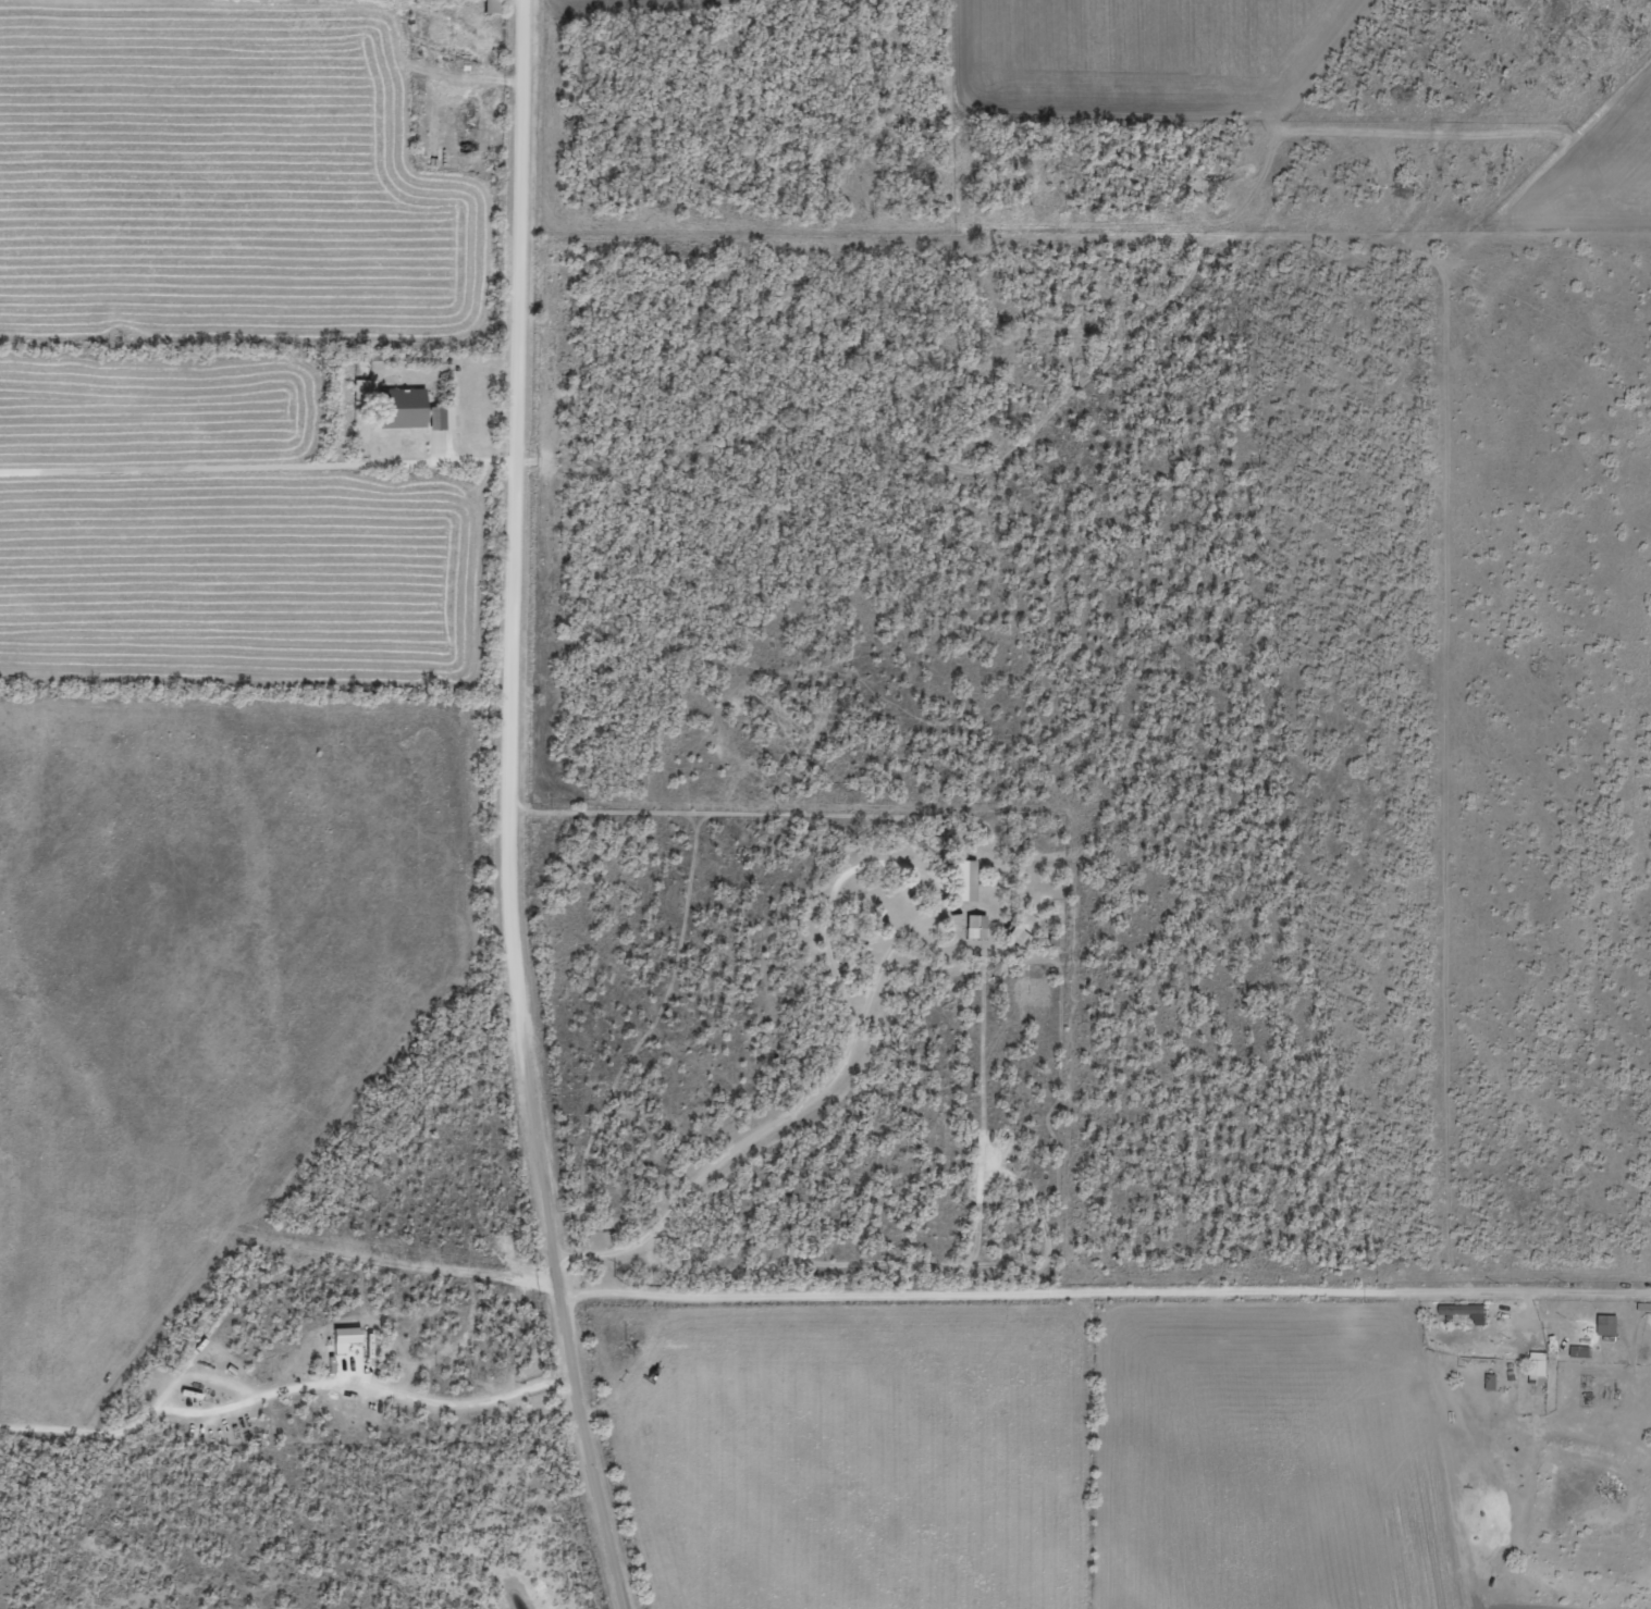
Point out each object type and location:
building: (365, 388)
building: (418, 410)
road: (502, 806)
building: (970, 880)
building: (978, 926)
building: (1021, 937)
road: (1035, 952)
road: (1095, 1286)
building: (1469, 1311)
building: (1615, 1326)
building: (348, 1337)
building: (1586, 1352)
building: (1544, 1370)
building: (1499, 1384)

